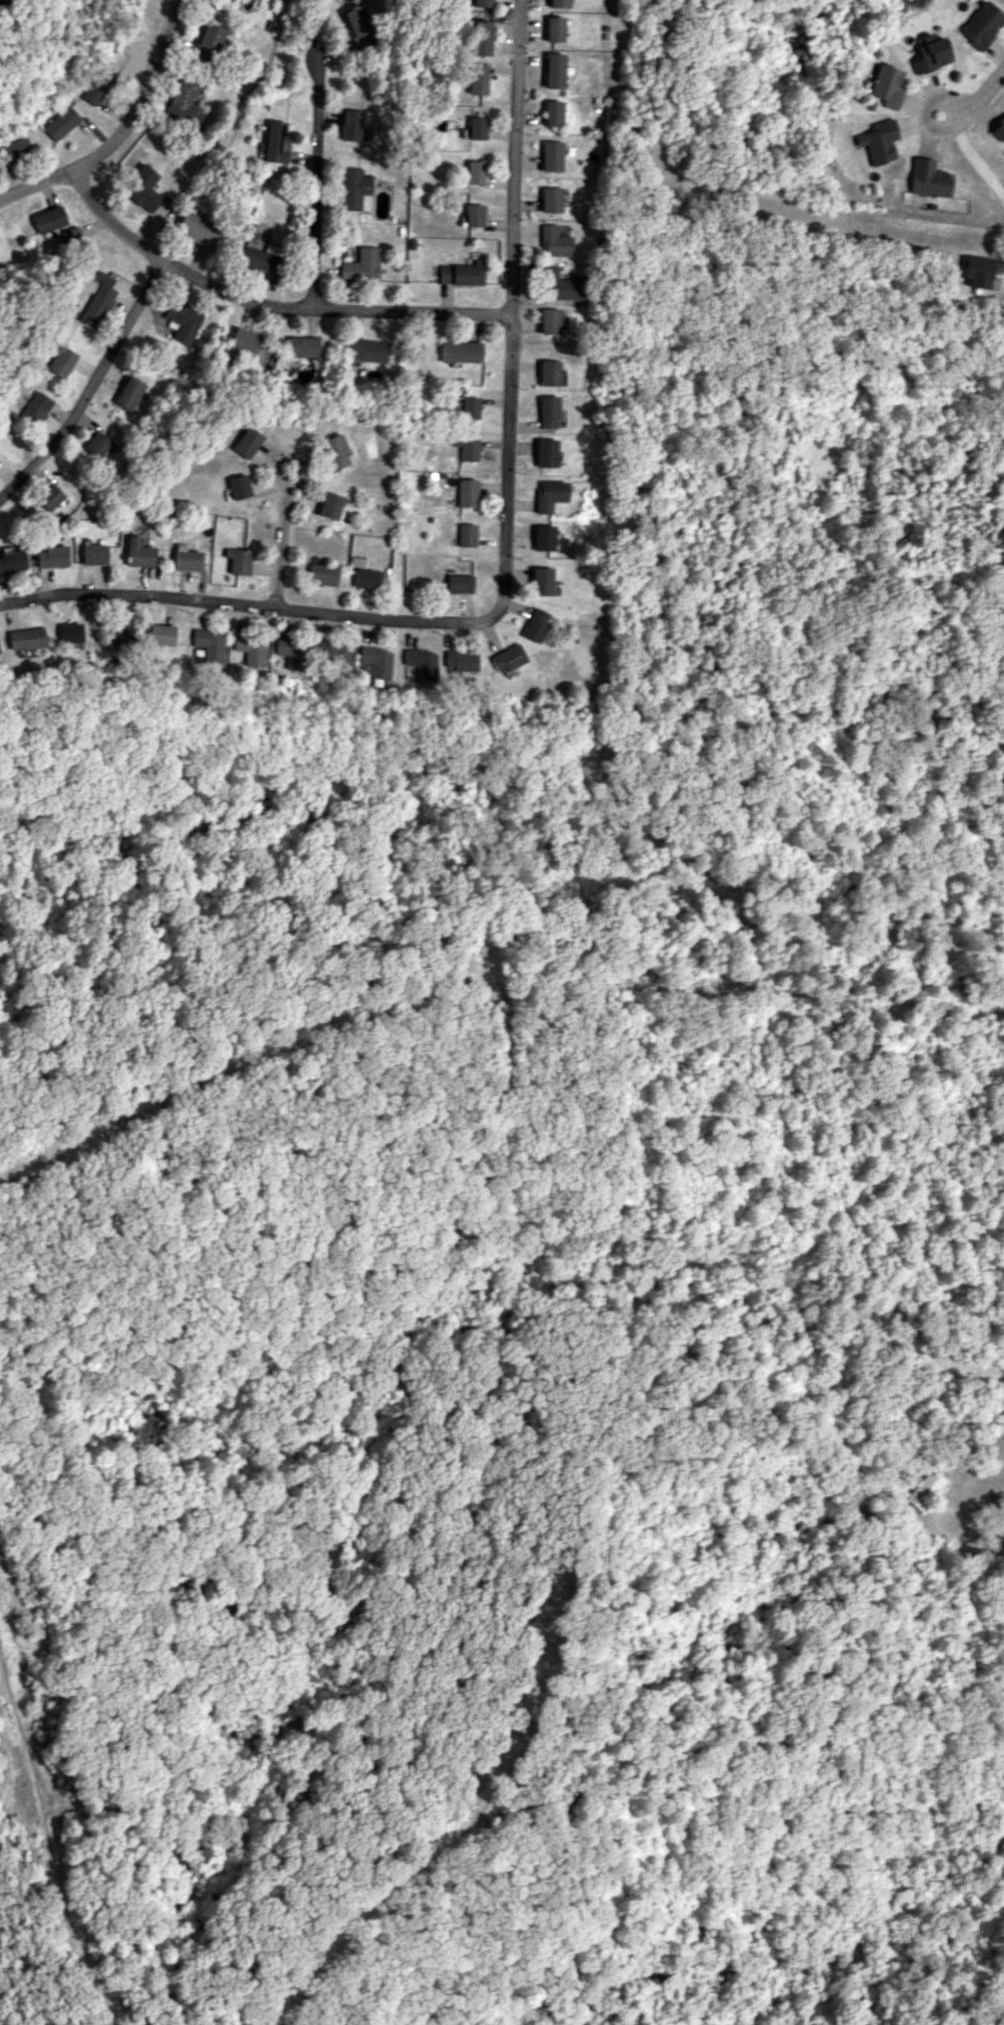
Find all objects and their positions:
road: (1, 0)
building: (479, 3)
building: (558, 3)
building: (981, 24)
building: (358, 26)
building: (554, 29)
building: (478, 37)
building: (207, 39)
building: (929, 53)
building: (554, 70)
building: (477, 78)
building: (97, 84)
building: (885, 86)
road: (984, 87)
building: (182, 103)
building: (553, 113)
building: (60, 123)
building: (351, 125)
building: (476, 127)
building: (999, 131)
road: (129, 135)
building: (879, 141)
building: (274, 142)
building: (15, 146)
road: (964, 146)
building: (552, 156)
building: (475, 172)
building: (930, 178)
road: (318, 183)
building: (139, 187)
building: (354, 190)
building: (551, 199)
building: (474, 215)
building: (46, 220)
building: (195, 229)
building: (554, 241)
building: (259, 259)
building: (361, 265)
building: (974, 270)
building: (461, 273)
building: (557, 285)
building: (96, 300)
road: (269, 302)
building: (183, 320)
building: (547, 321)
building: (246, 340)
building: (302, 346)
building: (367, 349)
building: (459, 351)
building: (60, 361)
building: (547, 372)
road: (90, 391)
building: (128, 392)
building: (34, 407)
building: (470, 407)
building: (547, 411)
building: (246, 442)
building: (95, 444)
building: (467, 448)
building: (335, 451)
building: (544, 453)
building: (239, 486)
building: (467, 492)
building: (548, 495)
building: (48, 497)
building: (330, 505)
building: (466, 535)
building: (542, 537)
road: (282, 546)
building: (139, 552)
building: (94, 554)
building: (51, 556)
road: (508, 559)
building: (188, 560)
building: (240, 560)
building: (12, 561)
building: (323, 574)
building: (367, 578)
building: (541, 581)
building: (460, 583)
building: (535, 625)
building: (117, 631)
building: (70, 632)
building: (161, 634)
building: (26, 640)
building: (209, 644)
building: (250, 648)
building: (292, 652)
building: (335, 656)
building: (507, 658)
building: (376, 661)
building: (460, 661)
building: (421, 663)
building: (924, 1489)
road: (972, 1544)

